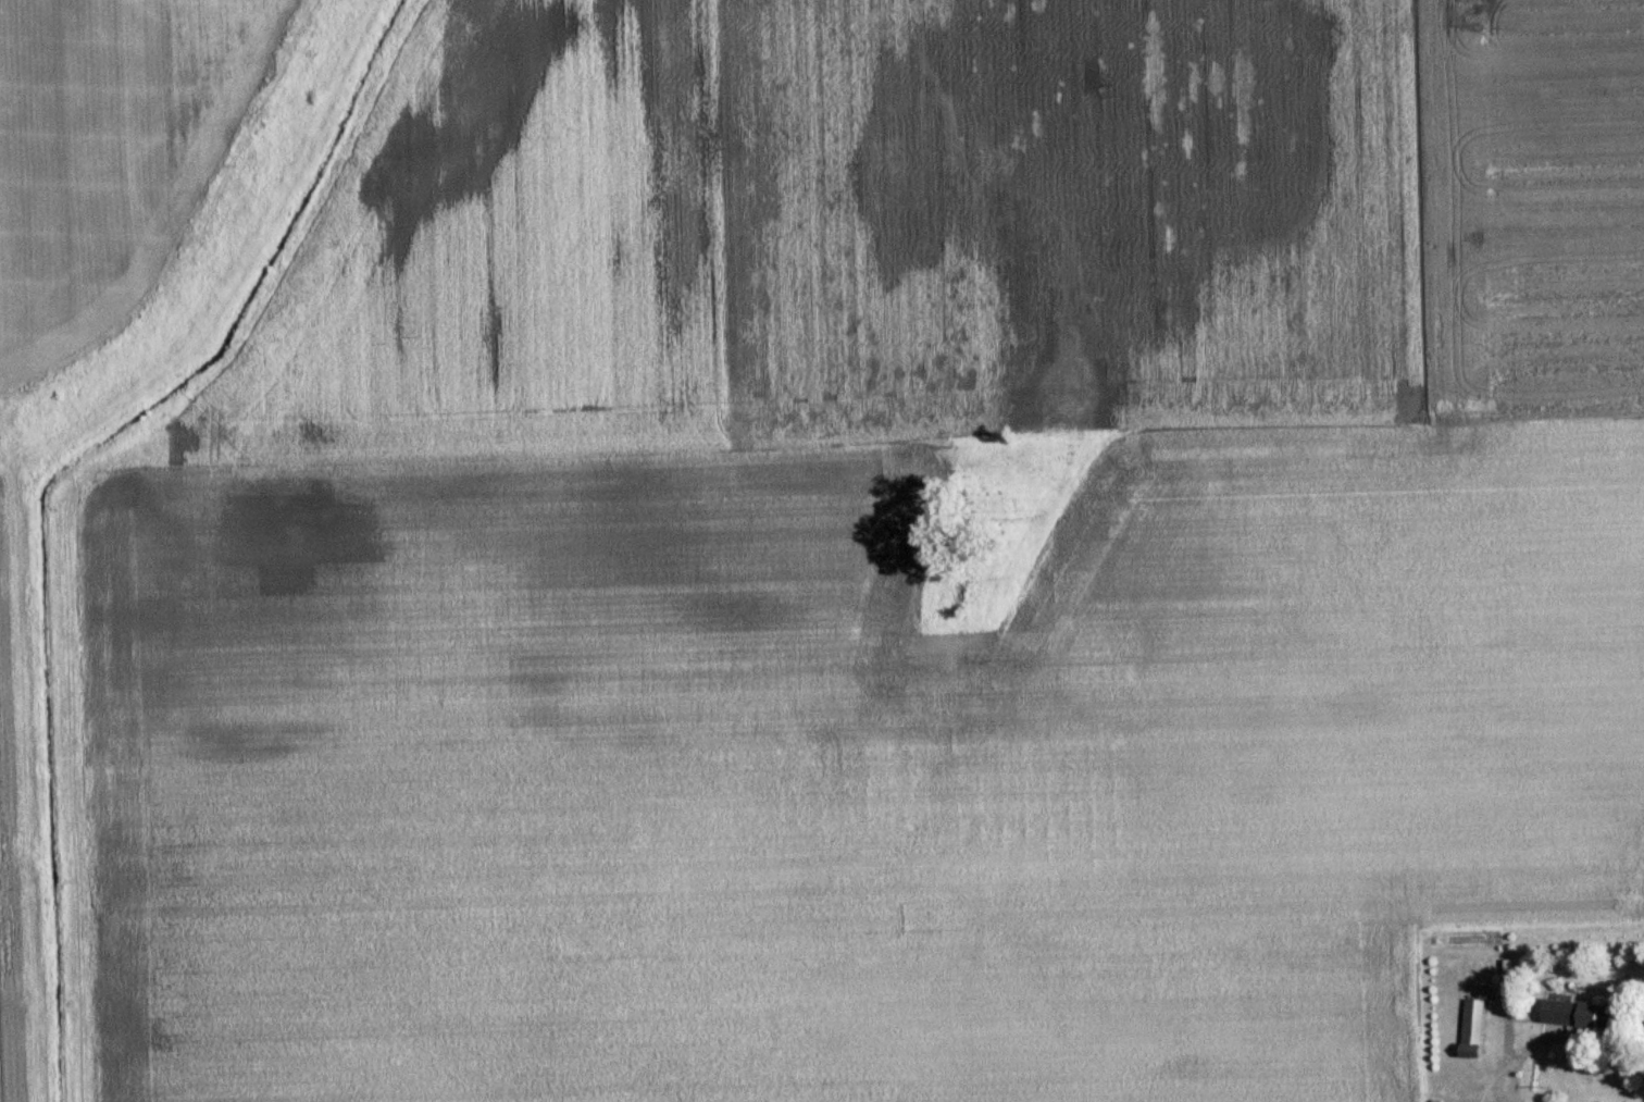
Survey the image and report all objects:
building: (1572, 1012)
building: (1470, 1020)

